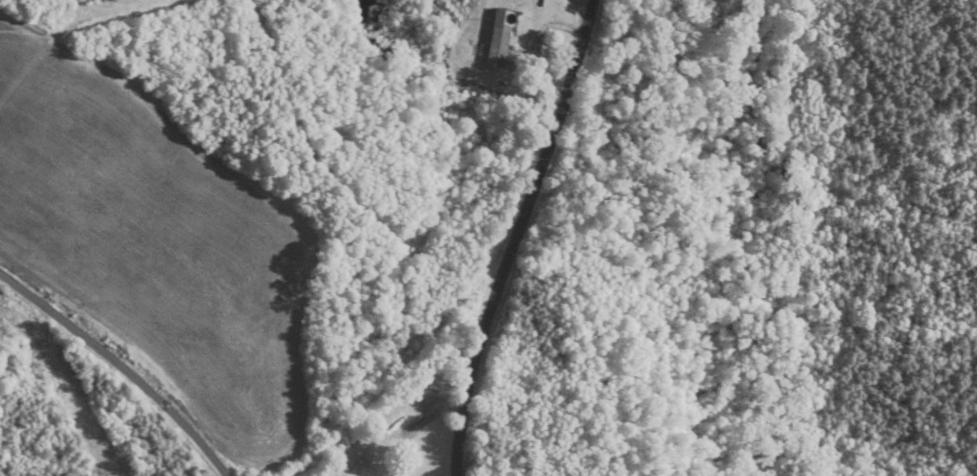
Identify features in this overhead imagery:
building: (507, 54)
road: (523, 237)
road: (123, 361)

